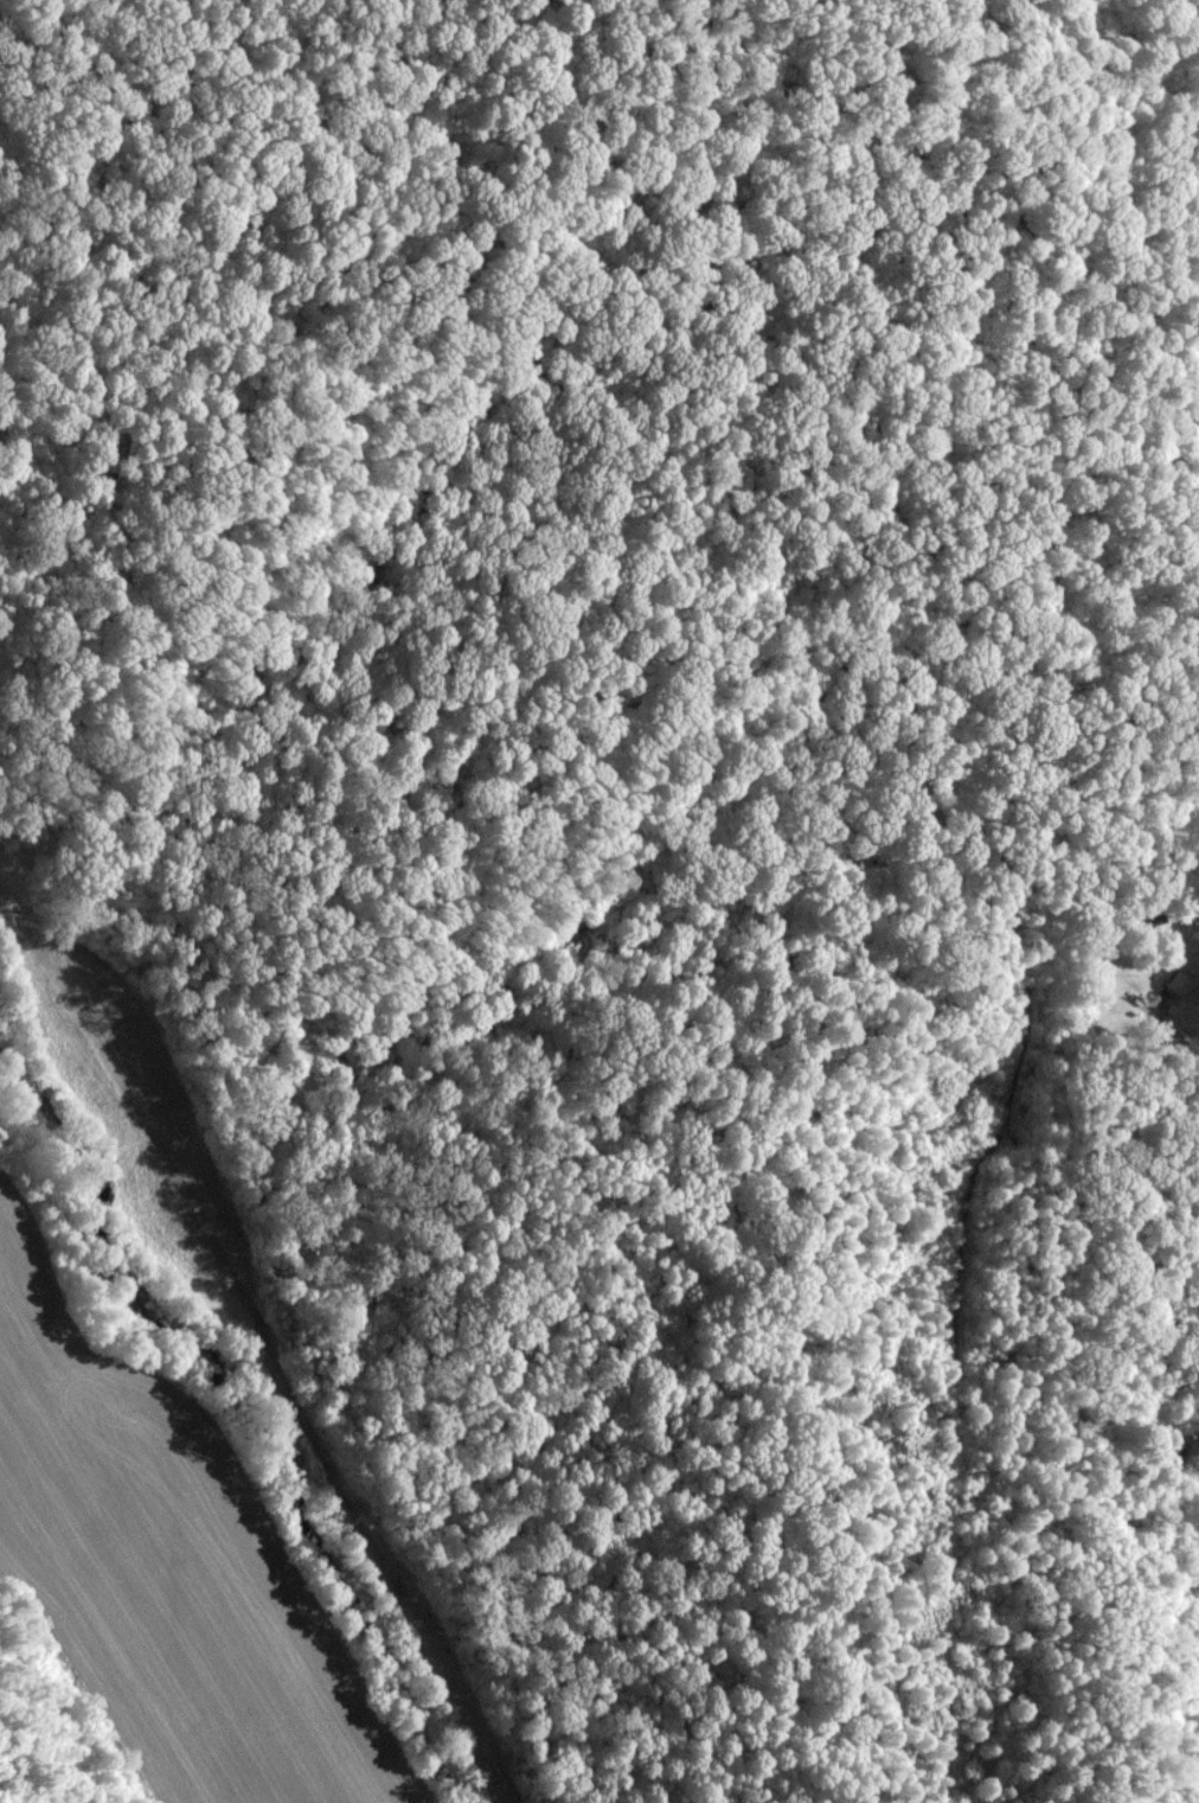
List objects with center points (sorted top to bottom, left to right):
road: (1169, 1029)

